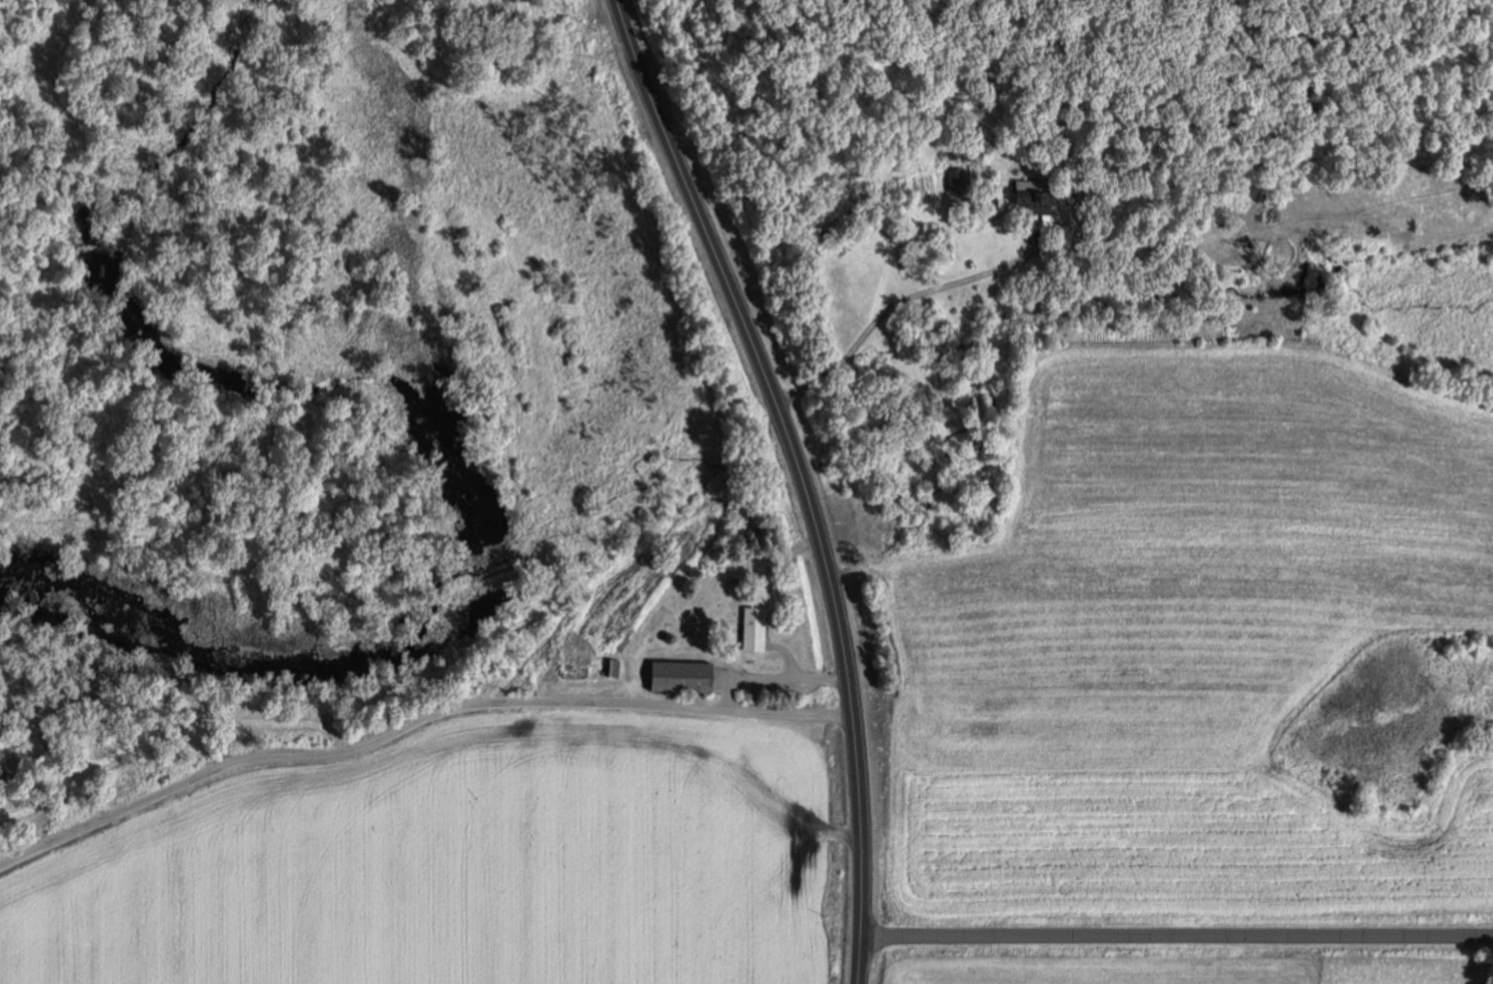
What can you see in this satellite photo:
building: (1033, 197)
road: (801, 477)
building: (751, 627)
building: (677, 675)
road: (414, 718)
crop: (472, 858)
road: (1177, 932)

